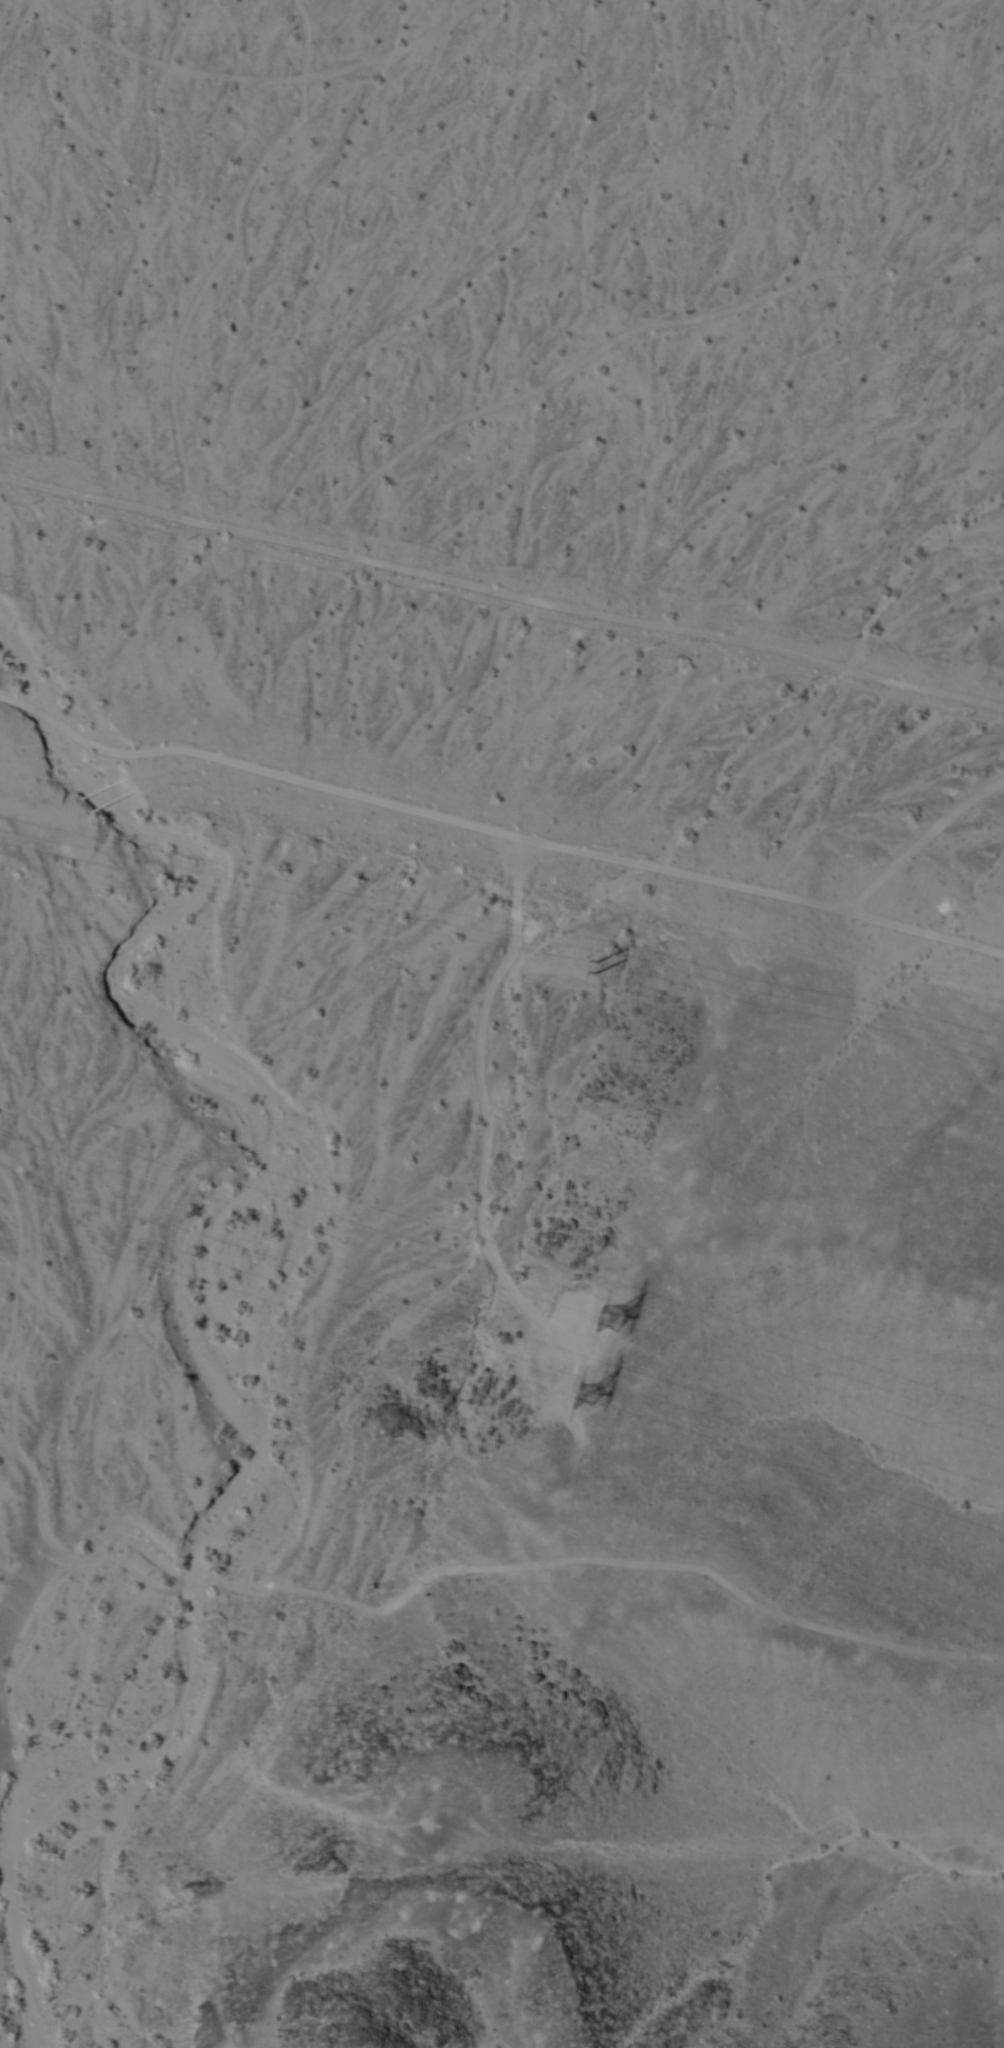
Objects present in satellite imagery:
road: (501, 594)
road: (495, 832)
building: (580, 965)
power tower: (580, 971)
power tower: (607, 1316)
power tower: (582, 1388)

